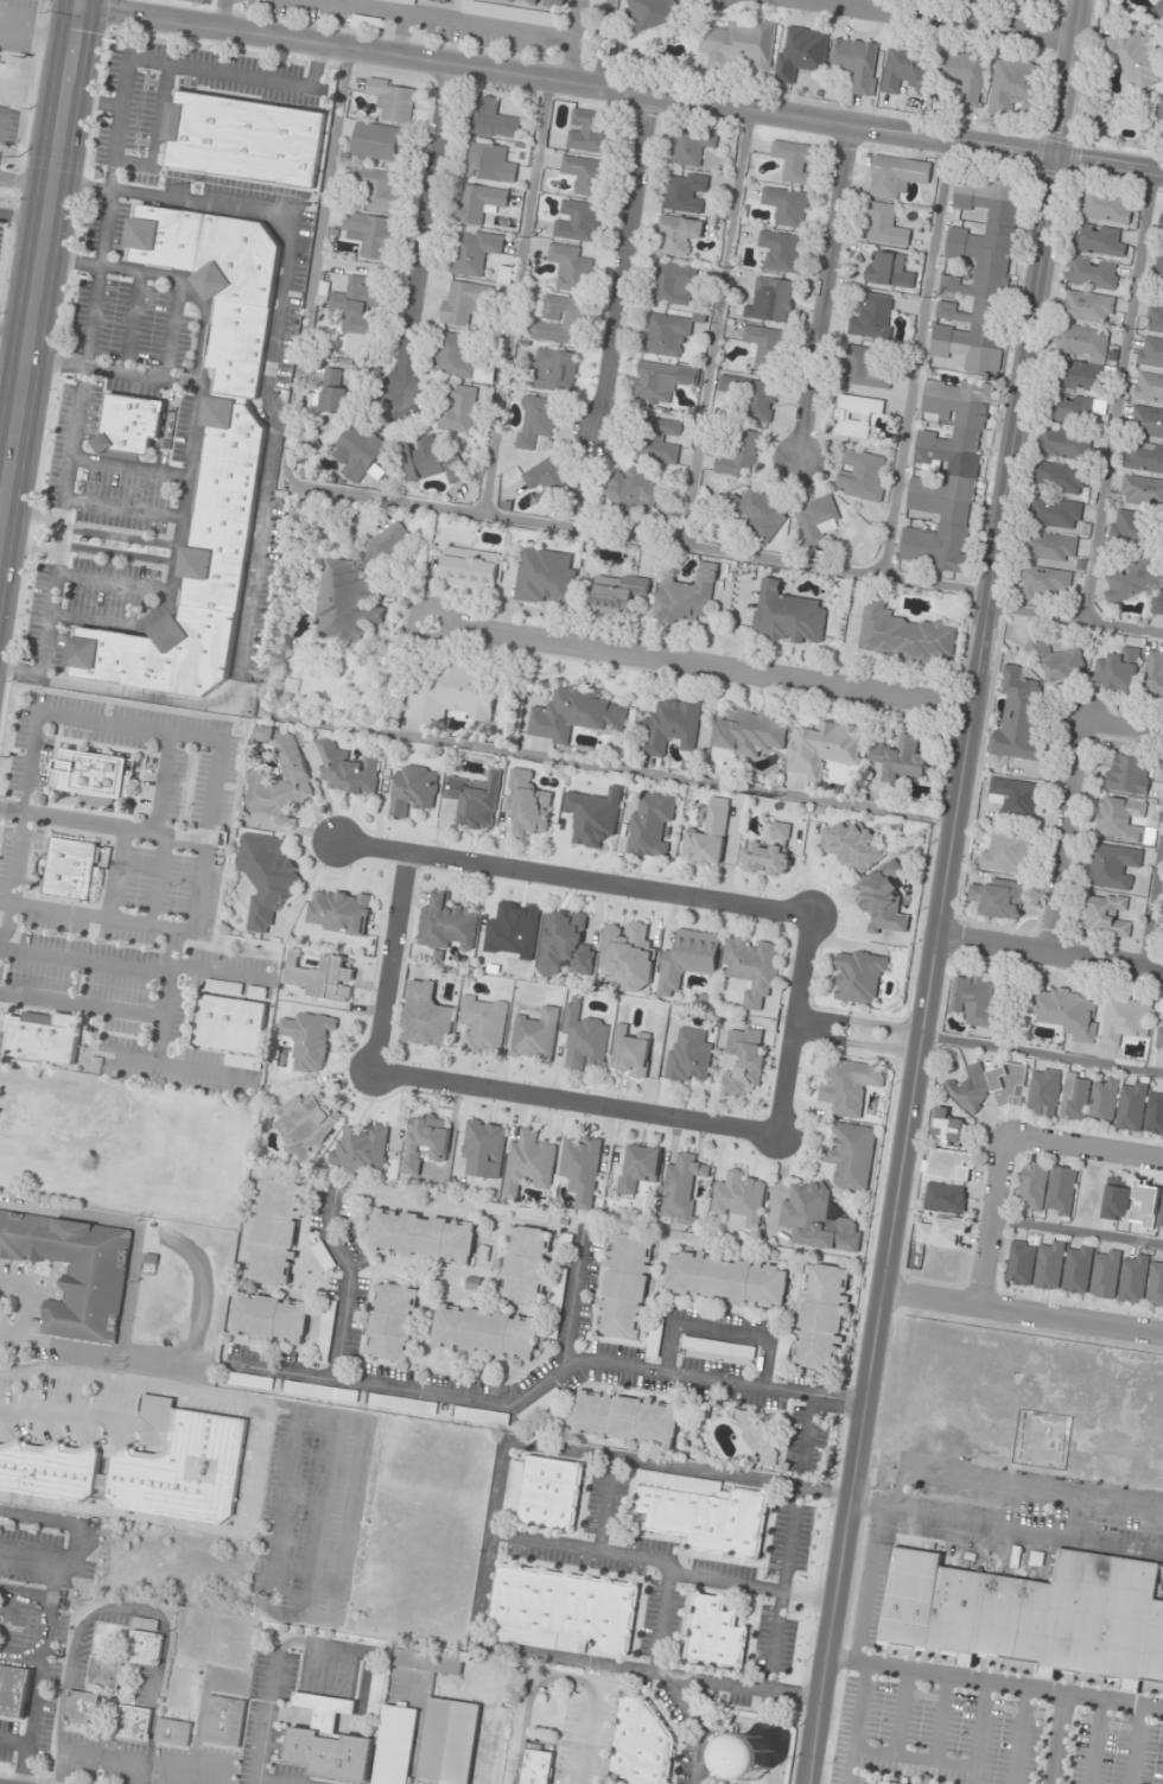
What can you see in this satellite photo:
building: (405, 1)
building: (443, 1)
building: (1040, 1)
road: (74, 2)
building: (541, 2)
traffic signals: (83, 5)
building: (1157, 9)
road: (222, 13)
building: (510, 13)
building: (652, 13)
road: (439, 20)
road: (951, 21)
road: (568, 42)
road: (596, 44)
building: (741, 45)
building: (802, 52)
building: (1132, 58)
building: (858, 63)
building: (907, 70)
building: (965, 76)
building: (1012, 85)
road: (622, 93)
building: (394, 100)
road: (95, 102)
road: (0, 113)
building: (1155, 114)
building: (492, 120)
building: (589, 131)
road: (155, 135)
building: (242, 139)
building: (380, 142)
building: (691, 146)
building: (795, 161)
building: (488, 163)
building: (583, 174)
building: (897, 176)
road: (27, 182)
building: (379, 188)
building: (685, 192)
road: (172, 198)
building: (479, 203)
building: (786, 205)
building: (1104, 207)
road: (24, 216)
building: (1161, 218)
building: (579, 221)
building: (886, 226)
road: (421, 230)
building: (371, 234)
building: (679, 235)
building: (1097, 240)
building: (781, 250)
building: (475, 252)
road: (621, 262)
building: (884, 266)
building: (571, 267)
building: (1155, 269)
road: (42, 272)
road: (97, 272)
building: (1089, 273)
building: (979, 277)
building: (674, 284)
road: (822, 293)
road: (516, 296)
building: (775, 298)
building: (464, 301)
building: (357, 306)
building: (1085, 306)
building: (872, 317)
building: (1155, 318)
building: (560, 320)
road: (131, 323)
road: (710, 325)
road: (17, 329)
road: (170, 329)
building: (665, 334)
building: (1081, 341)
building: (765, 347)
building: (1150, 353)
building: (456, 357)
road: (915, 358)
building: (865, 368)
building: (554, 370)
road: (112, 372)
building: (1076, 376)
building: (657, 381)
building: (1148, 387)
building: (333, 392)
building: (752, 396)
road: (1112, 396)
building: (459, 410)
road: (9, 411)
building: (1072, 411)
building: (856, 415)
building: (536, 421)
building: (1146, 423)
building: (128, 425)
road: (193, 431)
building: (663, 440)
building: (1065, 444)
building: (361, 452)
building: (739, 456)
building: (1143, 457)
building: (430, 462)
road: (128, 469)
building: (860, 475)
building: (947, 476)
building: (552, 477)
building: (1060, 478)
building: (228, 487)
building: (631, 490)
building: (1140, 491)
road: (420, 500)
road: (121, 509)
road: (2, 510)
building: (762, 513)
building: (1055, 513)
building: (816, 520)
building: (1131, 529)
road: (89, 532)
building: (95, 533)
building: (1050, 547)
road: (87, 550)
road: (254, 558)
building: (468, 569)
building: (541, 577)
building: (1043, 580)
building: (1129, 580)
road: (112, 584)
building: (352, 589)
building: (617, 591)
building: (684, 595)
building: (1155, 603)
building: (786, 614)
building: (1162, 618)
road: (1074, 620)
building: (903, 635)
building: (1055, 661)
road: (699, 666)
building: (1116, 671)
building: (1152, 674)
building: (452, 696)
building: (573, 713)
road: (65, 716)
building: (1018, 717)
building: (671, 725)
road: (1125, 725)
building: (746, 731)
building: (819, 749)
building: (898, 757)
road: (611, 766)
building: (344, 769)
building: (95, 773)
building: (1127, 774)
building: (295, 776)
road: (161, 783)
building: (411, 789)
building: (1012, 798)
building: (471, 799)
building: (525, 804)
building: (591, 815)
building: (1119, 818)
building: (649, 825)
road: (102, 826)
building: (706, 834)
road: (1067, 834)
building: (850, 845)
building: (1006, 850)
building: (767, 852)
building: (1111, 865)
building: (71, 866)
road: (117, 875)
building: (265, 877)
road: (578, 878)
road: (158, 881)
road: (943, 891)
parking lot: (117, 894)
road: (1149, 894)
building: (997, 896)
building: (882, 899)
building: (337, 912)
building: (1104, 914)
building: (444, 923)
road: (142, 925)
building: (1162, 937)
building: (560, 946)
road: (1049, 951)
building: (625, 956)
building: (685, 959)
road: (83, 963)
road: (388, 964)
building: (750, 967)
road: (220, 972)
road: (808, 973)
building: (858, 974)
building: (318, 977)
building: (224, 986)
road: (164, 995)
building: (973, 997)
road: (80, 1005)
building: (1063, 1012)
building: (424, 1016)
road: (832, 1017)
building: (1123, 1018)
building: (481, 1024)
road: (894, 1027)
building: (230, 1028)
road: (862, 1031)
building: (1158, 1031)
building: (44, 1035)
building: (534, 1035)
building: (581, 1036)
road: (828, 1036)
building: (306, 1040)
road: (890, 1045)
building: (628, 1052)
building: (687, 1055)
road: (1042, 1055)
building: (742, 1061)
road: (177, 1065)
building: (1003, 1084)
road: (790, 1086)
building: (847, 1086)
building: (967, 1090)
building: (1042, 1092)
building: (1074, 1097)
building: (1101, 1099)
building: (1130, 1105)
road: (576, 1106)
building: (1154, 1113)
building: (46, 1116)
building: (304, 1124)
building: (945, 1126)
building: (422, 1142)
building: (360, 1148)
building: (481, 1148)
road: (1083, 1150)
building: (850, 1155)
building: (527, 1162)
building: (947, 1164)
building: (579, 1168)
building: (637, 1168)
building: (1031, 1185)
building: (680, 1187)
building: (1060, 1189)
building: (737, 1198)
building: (943, 1198)
building: (1114, 1198)
building: (1143, 1204)
building: (1159, 1208)
building: (815, 1219)
road: (991, 1223)
building: (941, 1231)
building: (274, 1232)
road: (1078, 1232)
building: (422, 1236)
building: (324, 1256)
building: (1018, 1263)
building: (526, 1264)
building: (1048, 1265)
building: (1075, 1269)
building: (74, 1270)
building: (1104, 1274)
road: (345, 1277)
building: (726, 1278)
building: (1132, 1278)
building: (1155, 1284)
building: (625, 1285)
road: (571, 1291)
road: (1022, 1314)
building: (822, 1316)
building: (271, 1319)
building: (393, 1321)
road: (720, 1329)
building: (485, 1332)
building: (655, 1337)
building: (719, 1348)
building: (783, 1356)
road: (76, 1374)
road: (542, 1374)
building: (250, 1382)
building: (301, 1389)
road: (153, 1391)
road: (26, 1392)
road: (211, 1395)
parking lot: (71, 1404)
building: (403, 1404)
road: (150, 1409)
road: (72, 1415)
building: (627, 1417)
road: (807, 1436)
building: (757, 1440)
building: (179, 1465)
building: (49, 1468)
road: (259, 1469)
road: (286, 1473)
building: (542, 1493)
parking lot: (299, 1500)
road: (603, 1504)
building: (703, 1512)
road: (319, 1515)
road: (125, 1516)
road: (488, 1538)
road: (76, 1539)
road: (342, 1551)
road: (661, 1567)
road: (780, 1588)
road: (8, 1604)
building: (563, 1612)
building: (1031, 1612)
building: (714, 1636)
building: (145, 1642)
road: (20, 1657)
building: (428, 1661)
road: (38, 1670)
building: (104, 1672)
road: (667, 1683)
road: (986, 1683)
building: (13, 1691)
road: (523, 1696)
building: (82, 1708)
building: (222, 1720)
building: (134, 1722)
road: (858, 1725)
building: (172, 1733)
road: (586, 1740)
building: (330, 1741)
building: (449, 1741)
road: (13, 1742)
building: (642, 1744)
building: (395, 1745)
water tower: (751, 1756)
building: (751, 1757)
building: (534, 1765)
building: (884, 1783)

